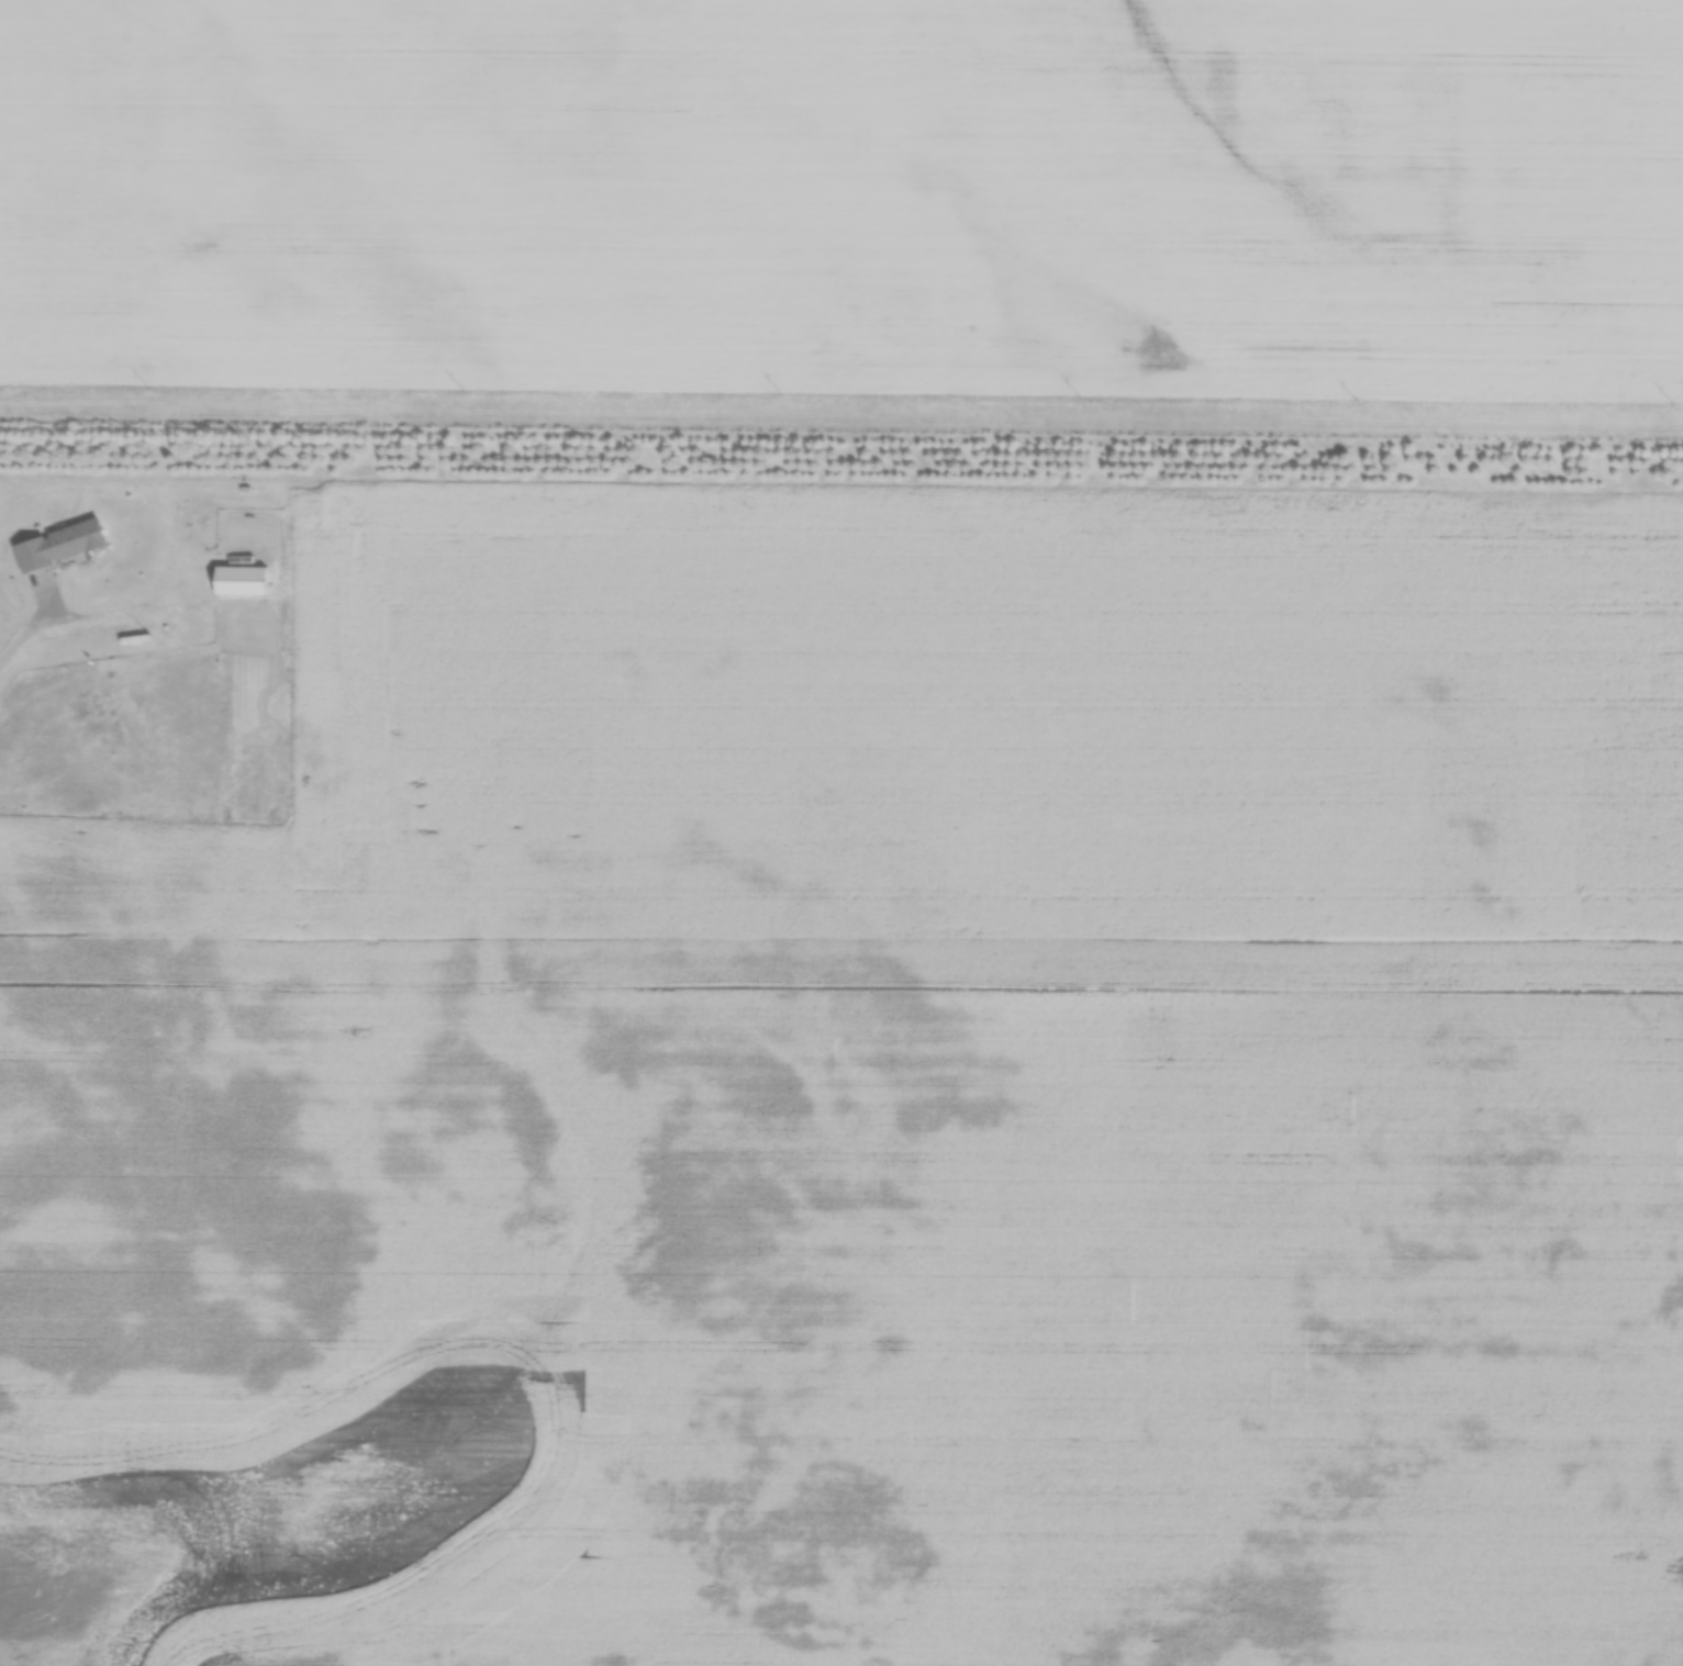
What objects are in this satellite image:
crop: (847, 191)
building: (66, 544)
building: (246, 580)
road: (20, 635)

